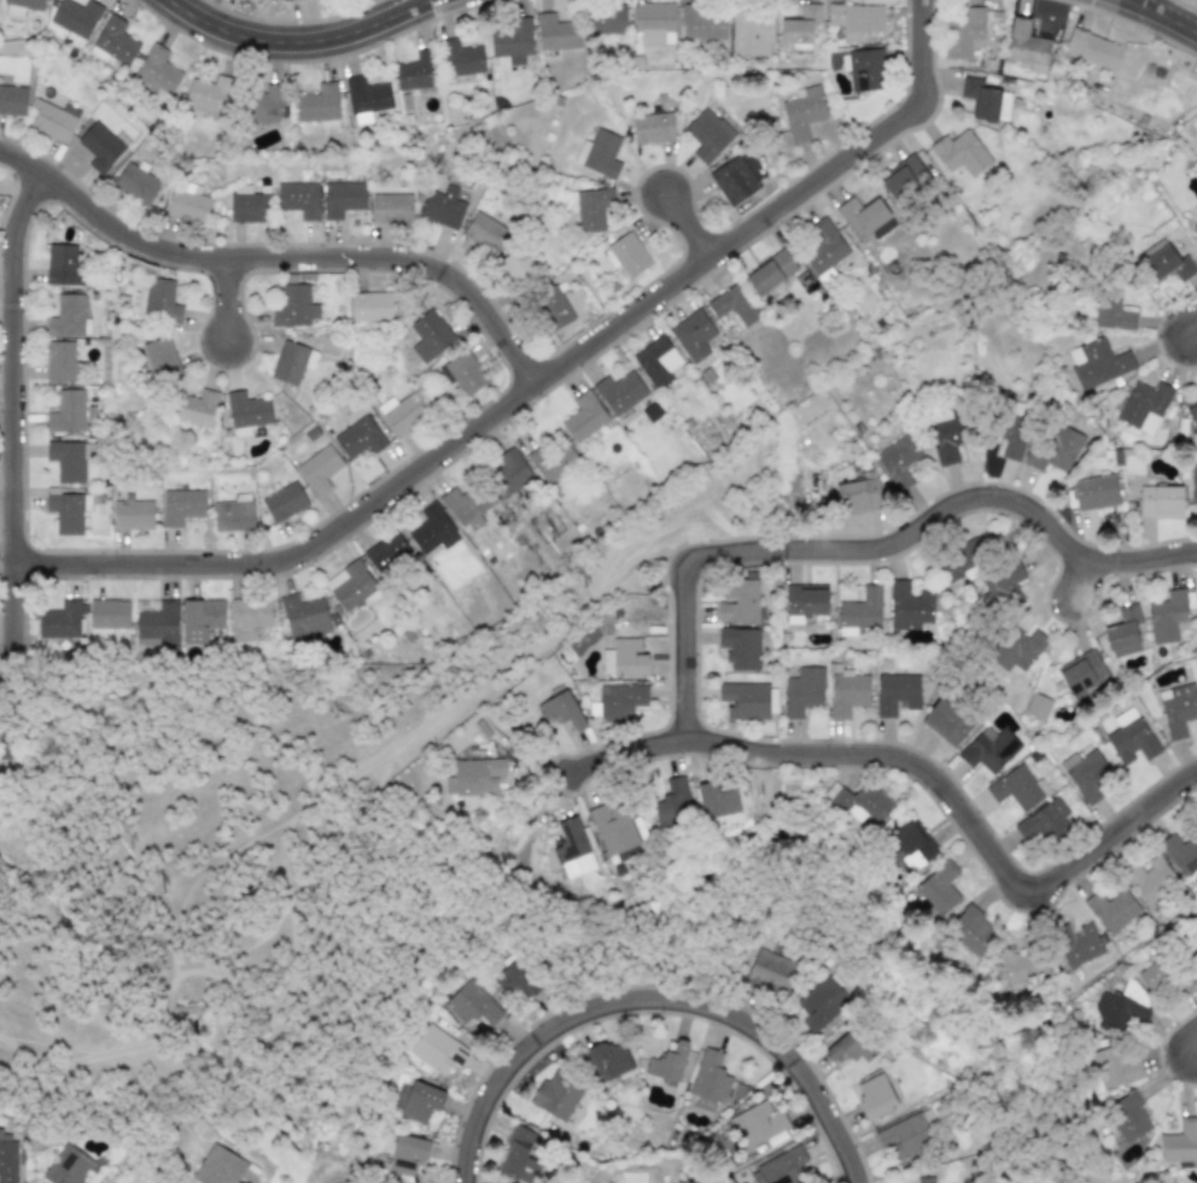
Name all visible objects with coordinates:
building: (292, 0)
building: (21, 7)
road: (1163, 16)
building: (76, 17)
building: (856, 18)
building: (606, 19)
building: (702, 22)
building: (654, 23)
building: (801, 28)
building: (556, 33)
building: (751, 33)
building: (964, 33)
road: (296, 40)
building: (513, 41)
building: (113, 42)
building: (1026, 46)
building: (1093, 49)
building: (460, 58)
building: (863, 69)
building: (156, 71)
building: (418, 71)
building: (209, 93)
building: (364, 98)
building: (980, 98)
building: (12, 100)
building: (264, 104)
building: (319, 106)
building: (801, 113)
building: (53, 119)
building: (653, 128)
building: (707, 135)
building: (100, 147)
building: (959, 152)
building: (598, 153)
building: (904, 177)
building: (734, 180)
building: (136, 183)
building: (298, 198)
building: (341, 198)
building: (187, 205)
building: (442, 205)
building: (391, 207)
building: (592, 207)
building: (865, 216)
road: (685, 223)
building: (485, 232)
building: (1196, 232)
building: (823, 247)
building: (626, 254)
road: (282, 256)
building: (1166, 262)
building: (63, 265)
building: (516, 268)
building: (770, 271)
road: (233, 298)
building: (158, 300)
building: (732, 304)
building: (294, 306)
building: (370, 306)
building: (554, 308)
building: (1114, 311)
building: (69, 317)
road: (1192, 330)
building: (693, 334)
building: (428, 335)
building: (160, 358)
building: (62, 362)
building: (291, 362)
building: (658, 362)
building: (1097, 362)
building: (465, 373)
road: (535, 383)
building: (620, 392)
building: (1144, 405)
building: (195, 409)
building: (68, 411)
building: (246, 411)
building: (1191, 411)
building: (401, 412)
road: (17, 414)
building: (584, 416)
building: (358, 437)
building: (1012, 437)
building: (948, 438)
building: (1053, 449)
building: (69, 459)
building: (538, 459)
building: (899, 461)
building: (319, 469)
building: (512, 474)
building: (1193, 482)
building: (1096, 492)
building: (858, 494)
building: (1160, 500)
building: (282, 502)
building: (182, 506)
building: (462, 509)
building: (68, 511)
building: (233, 514)
building: (133, 515)
building: (432, 529)
road: (865, 545)
building: (386, 551)
building: (968, 555)
road: (1073, 574)
building: (351, 586)
building: (1002, 587)
building: (806, 599)
building: (738, 601)
building: (909, 605)
building: (860, 611)
building: (249, 615)
building: (107, 616)
building: (1167, 616)
building: (303, 617)
building: (200, 619)
building: (60, 621)
building: (157, 626)
building: (1123, 631)
building: (740, 648)
building: (1018, 650)
building: (624, 657)
building: (1084, 675)
building: (802, 691)
building: (847, 692)
building: (897, 692)
building: (745, 699)
building: (620, 701)
building: (1037, 705)
road: (7, 707)
building: (1178, 708)
building: (561, 711)
building: (946, 721)
building: (1131, 737)
building: (988, 749)
road: (605, 751)
road: (801, 752)
building: (1085, 774)
building: (473, 777)
building: (1017, 787)
building: (718, 798)
building: (859, 801)
building: (672, 806)
building: (1044, 821)
building: (613, 828)
building: (912, 843)
building: (572, 849)
building: (1180, 853)
road: (285, 855)
park: (258, 867)
road: (1044, 875)
building: (1149, 879)
building: (939, 889)
road: (221, 898)
building: (1111, 909)
building: (971, 932)
building: (1191, 938)
building: (1076, 943)
building: (1024, 965)
building: (769, 971)
building: (1155, 976)
building: (515, 977)
road: (658, 998)
building: (472, 1003)
building: (821, 1003)
building: (1122, 1008)
road: (1191, 1035)
building: (436, 1049)
building: (608, 1060)
building: (667, 1062)
building: (1111, 1068)
building: (708, 1080)
building: (557, 1093)
building: (874, 1096)
building: (420, 1101)
building: (1127, 1117)
building: (757, 1124)
building: (1180, 1141)
building: (408, 1154)
building: (7, 1158)
building: (518, 1158)
building: (777, 1165)
building: (68, 1166)
building: (218, 1166)
building: (926, 1179)

